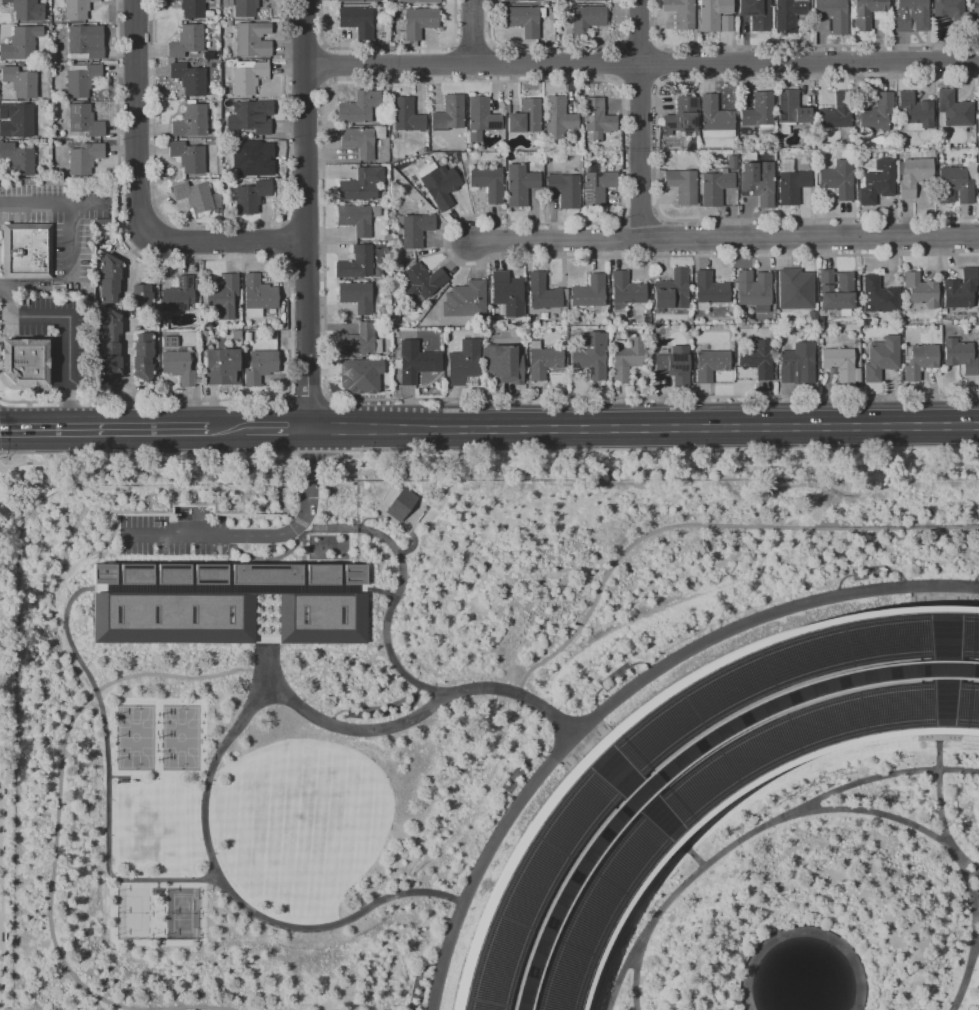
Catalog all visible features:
building: (517, 0)
building: (586, 0)
building: (358, 1)
building: (418, 1)
building: (227, 3)
building: (193, 8)
building: (245, 8)
building: (23, 9)
building: (76, 9)
building: (947, 9)
building: (975, 10)
building: (680, 12)
building: (866, 12)
building: (755, 13)
building: (788, 14)
building: (833, 14)
building: (910, 14)
building: (588, 15)
building: (714, 15)
building: (523, 19)
building: (356, 20)
building: (419, 21)
building: (822, 25)
road: (470, 31)
building: (252, 39)
building: (186, 40)
building: (21, 43)
building: (83, 44)
building: (207, 55)
road: (641, 64)
building: (56, 68)
building: (248, 76)
building: (189, 78)
building: (81, 79)
building: (20, 81)
building: (359, 107)
building: (791, 108)
building: (953, 108)
building: (915, 109)
building: (877, 111)
building: (759, 112)
building: (836, 112)
building: (449, 113)
building: (406, 114)
building: (525, 116)
building: (597, 116)
building: (681, 116)
road: (136, 117)
building: (558, 117)
building: (481, 118)
building: (714, 118)
building: (248, 119)
building: (978, 119)
building: (16, 120)
building: (84, 120)
road: (641, 120)
building: (190, 121)
building: (358, 142)
building: (187, 156)
building: (84, 157)
building: (19, 158)
building: (253, 158)
building: (731, 162)
building: (913, 175)
building: (838, 178)
building: (978, 180)
building: (758, 181)
building: (488, 182)
building: (878, 182)
building: (361, 184)
building: (520, 184)
building: (596, 184)
building: (681, 184)
building: (792, 185)
building: (954, 185)
building: (714, 186)
building: (442, 188)
building: (565, 189)
building: (193, 196)
building: (251, 196)
road: (51, 202)
road: (306, 214)
building: (355, 219)
parking lot: (61, 221)
building: (416, 228)
road: (226, 240)
road: (727, 240)
road: (71, 242)
building: (27, 251)
road: (130, 261)
building: (356, 263)
building: (109, 277)
building: (423, 281)
building: (844, 283)
building: (709, 288)
building: (752, 288)
road: (20, 289)
building: (626, 289)
building: (794, 289)
building: (960, 289)
building: (671, 290)
building: (542, 291)
building: (589, 291)
building: (920, 291)
building: (507, 293)
building: (178, 294)
building: (140, 295)
building: (258, 295)
building: (878, 295)
building: (223, 296)
building: (356, 296)
building: (465, 299)
road: (123, 306)
road: (66, 333)
building: (237, 335)
building: (801, 335)
building: (361, 341)
building: (172, 343)
building: (112, 347)
building: (962, 357)
building: (145, 358)
building: (884, 359)
building: (630, 360)
building: (759, 360)
building: (25, 361)
building: (592, 362)
building: (922, 362)
building: (546, 363)
building: (413, 365)
building: (466, 365)
building: (508, 365)
building: (713, 365)
building: (796, 365)
building: (842, 365)
building: (677, 366)
building: (180, 368)
building: (224, 368)
building: (263, 368)
road: (124, 374)
building: (364, 375)
road: (643, 427)
road: (276, 429)
road: (103, 430)
road: (226, 430)
road: (138, 462)
road: (1, 470)
road: (1, 473)
road: (308, 477)
road: (278, 498)
building: (399, 503)
road: (660, 524)
road: (214, 535)
parking lot: (161, 547)
road: (937, 585)
building: (226, 605)
road: (386, 618)
road: (286, 649)
road: (265, 668)
road: (614, 685)
park: (138, 739)
park: (182, 739)
road: (108, 766)
building: (692, 773)
road: (943, 807)
road: (202, 810)
road: (871, 811)
road: (63, 814)
road: (751, 828)
road: (686, 851)
building: (133, 905)
park: (135, 910)
park: (178, 910)
road: (802, 916)
road: (2, 920)
road: (959, 967)
road: (631, 981)
road: (866, 1008)

